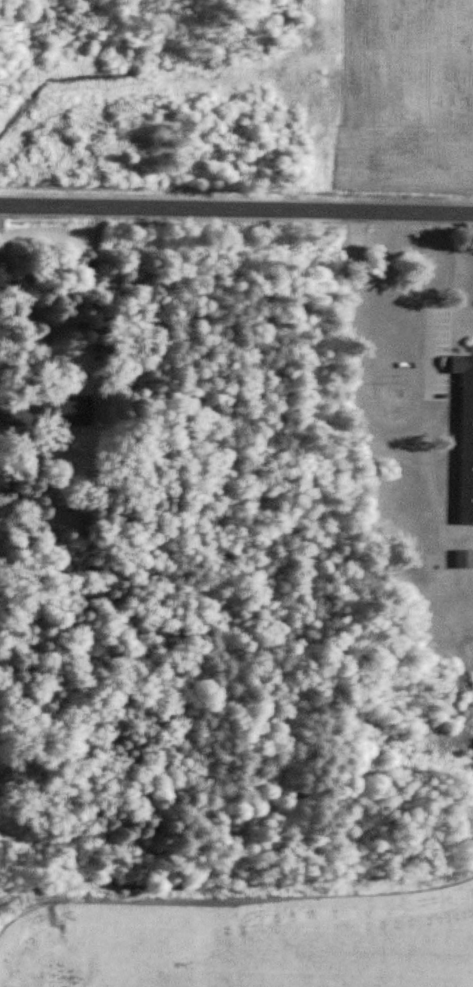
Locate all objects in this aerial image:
road: (236, 217)
building: (80, 274)
road: (390, 295)
road: (33, 322)
building: (60, 412)
building: (463, 438)
building: (461, 560)

